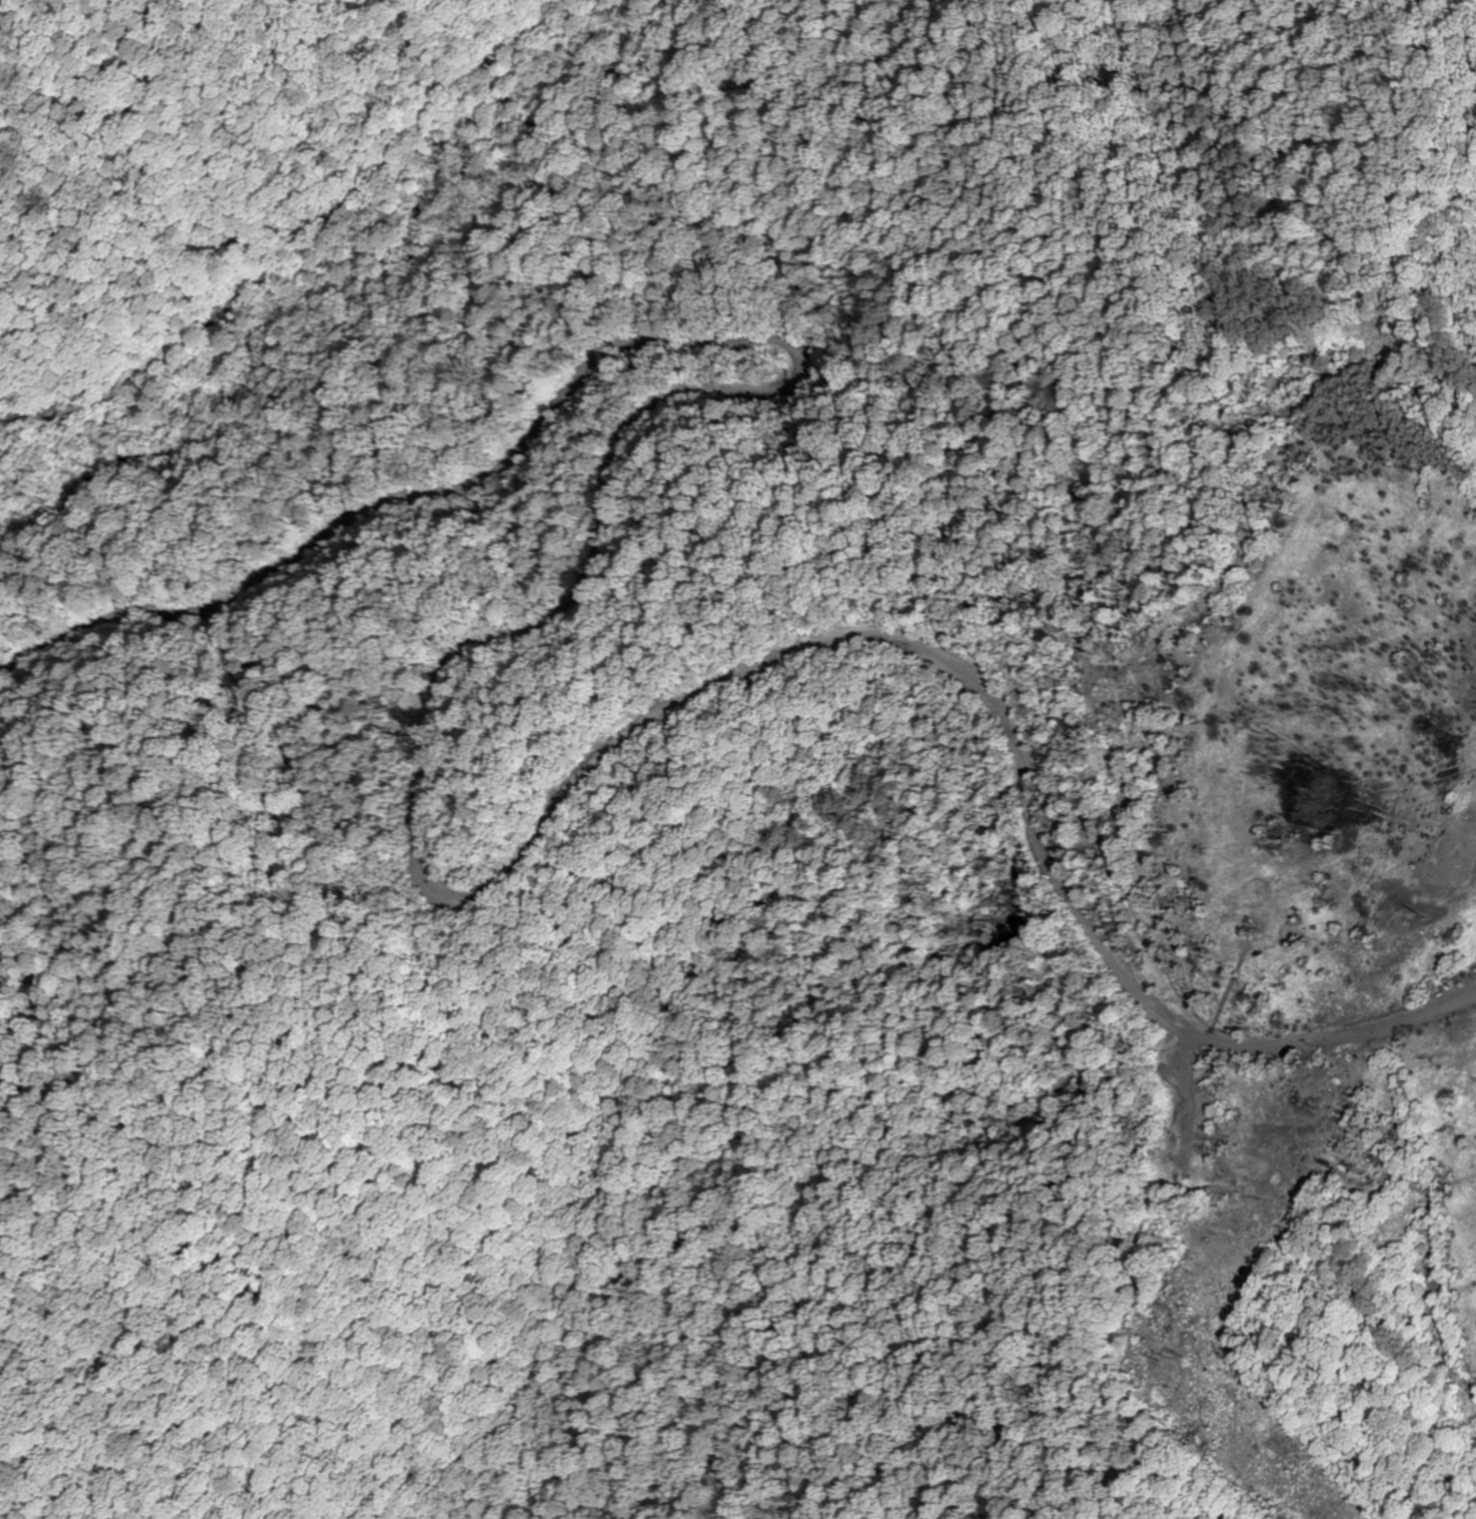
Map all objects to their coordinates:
road: (426, 758)
power tower: (1425, 916)
power tower: (1177, 1355)

